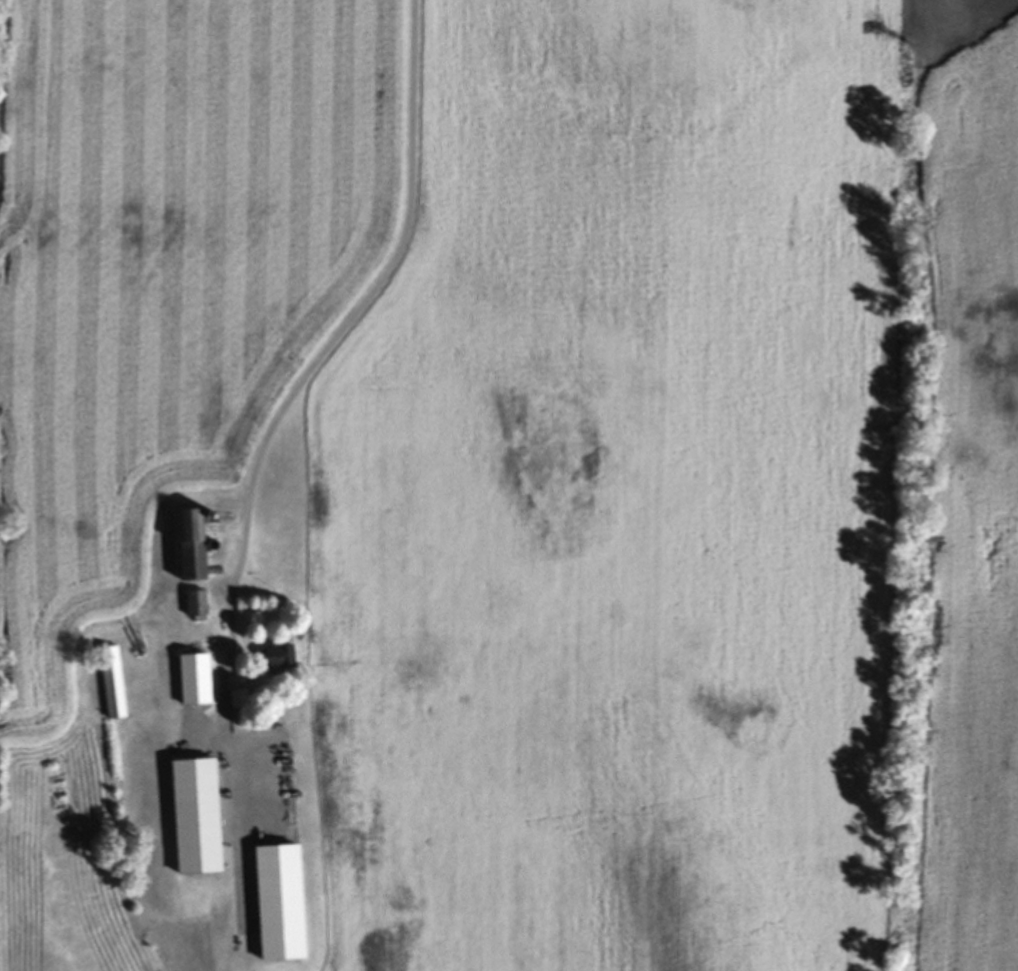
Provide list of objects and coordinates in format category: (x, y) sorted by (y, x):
road: (310, 375)
building: (190, 549)
building: (197, 608)
building: (279, 660)
building: (195, 683)
building: (113, 686)
building: (254, 716)
building: (196, 819)
building: (279, 905)

